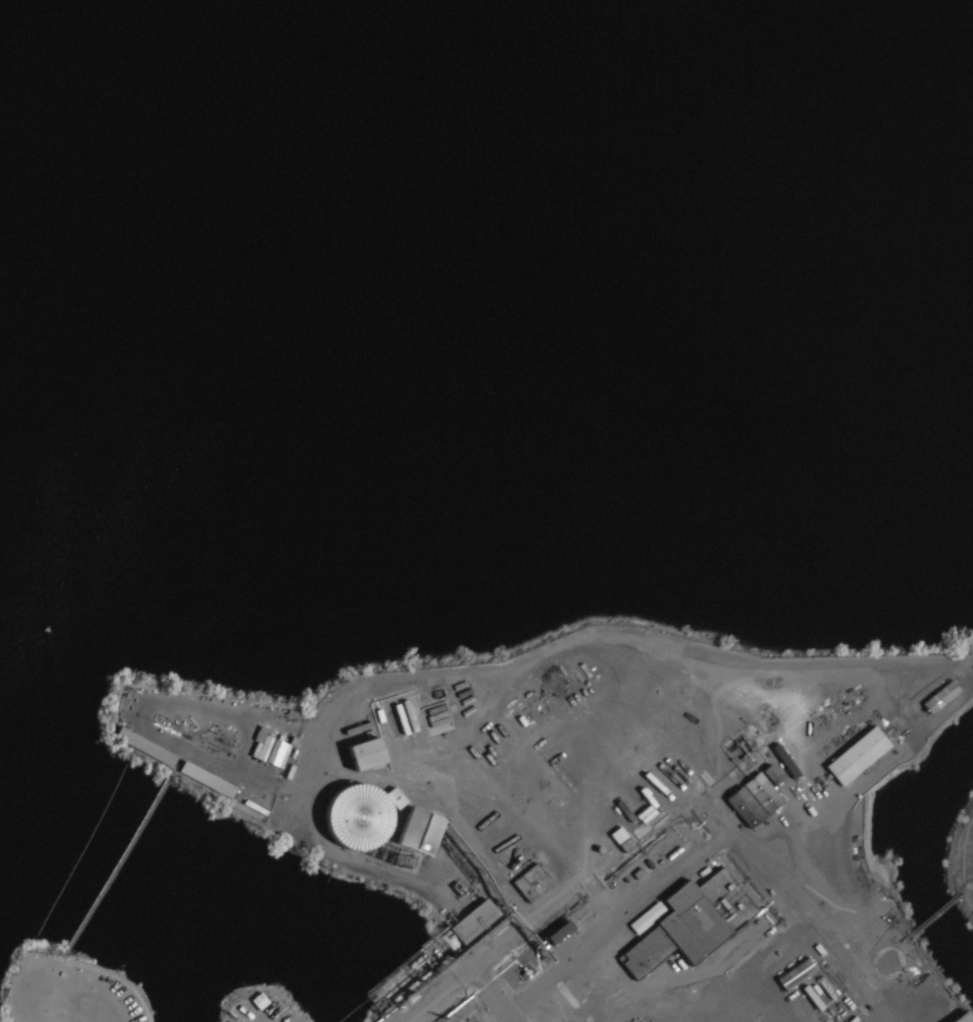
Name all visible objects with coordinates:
building: (681, 738)
building: (153, 751)
building: (368, 754)
building: (859, 755)
building: (772, 773)
building: (221, 788)
building: (756, 800)
building: (351, 819)
storage tank: (351, 819)
power plant: (635, 826)
building: (423, 832)
building: (534, 883)
building: (693, 953)
road: (514, 1004)
building: (632, 1007)
power substation: (472, 1012)
power plant: (251, 1015)
building: (951, 1019)

